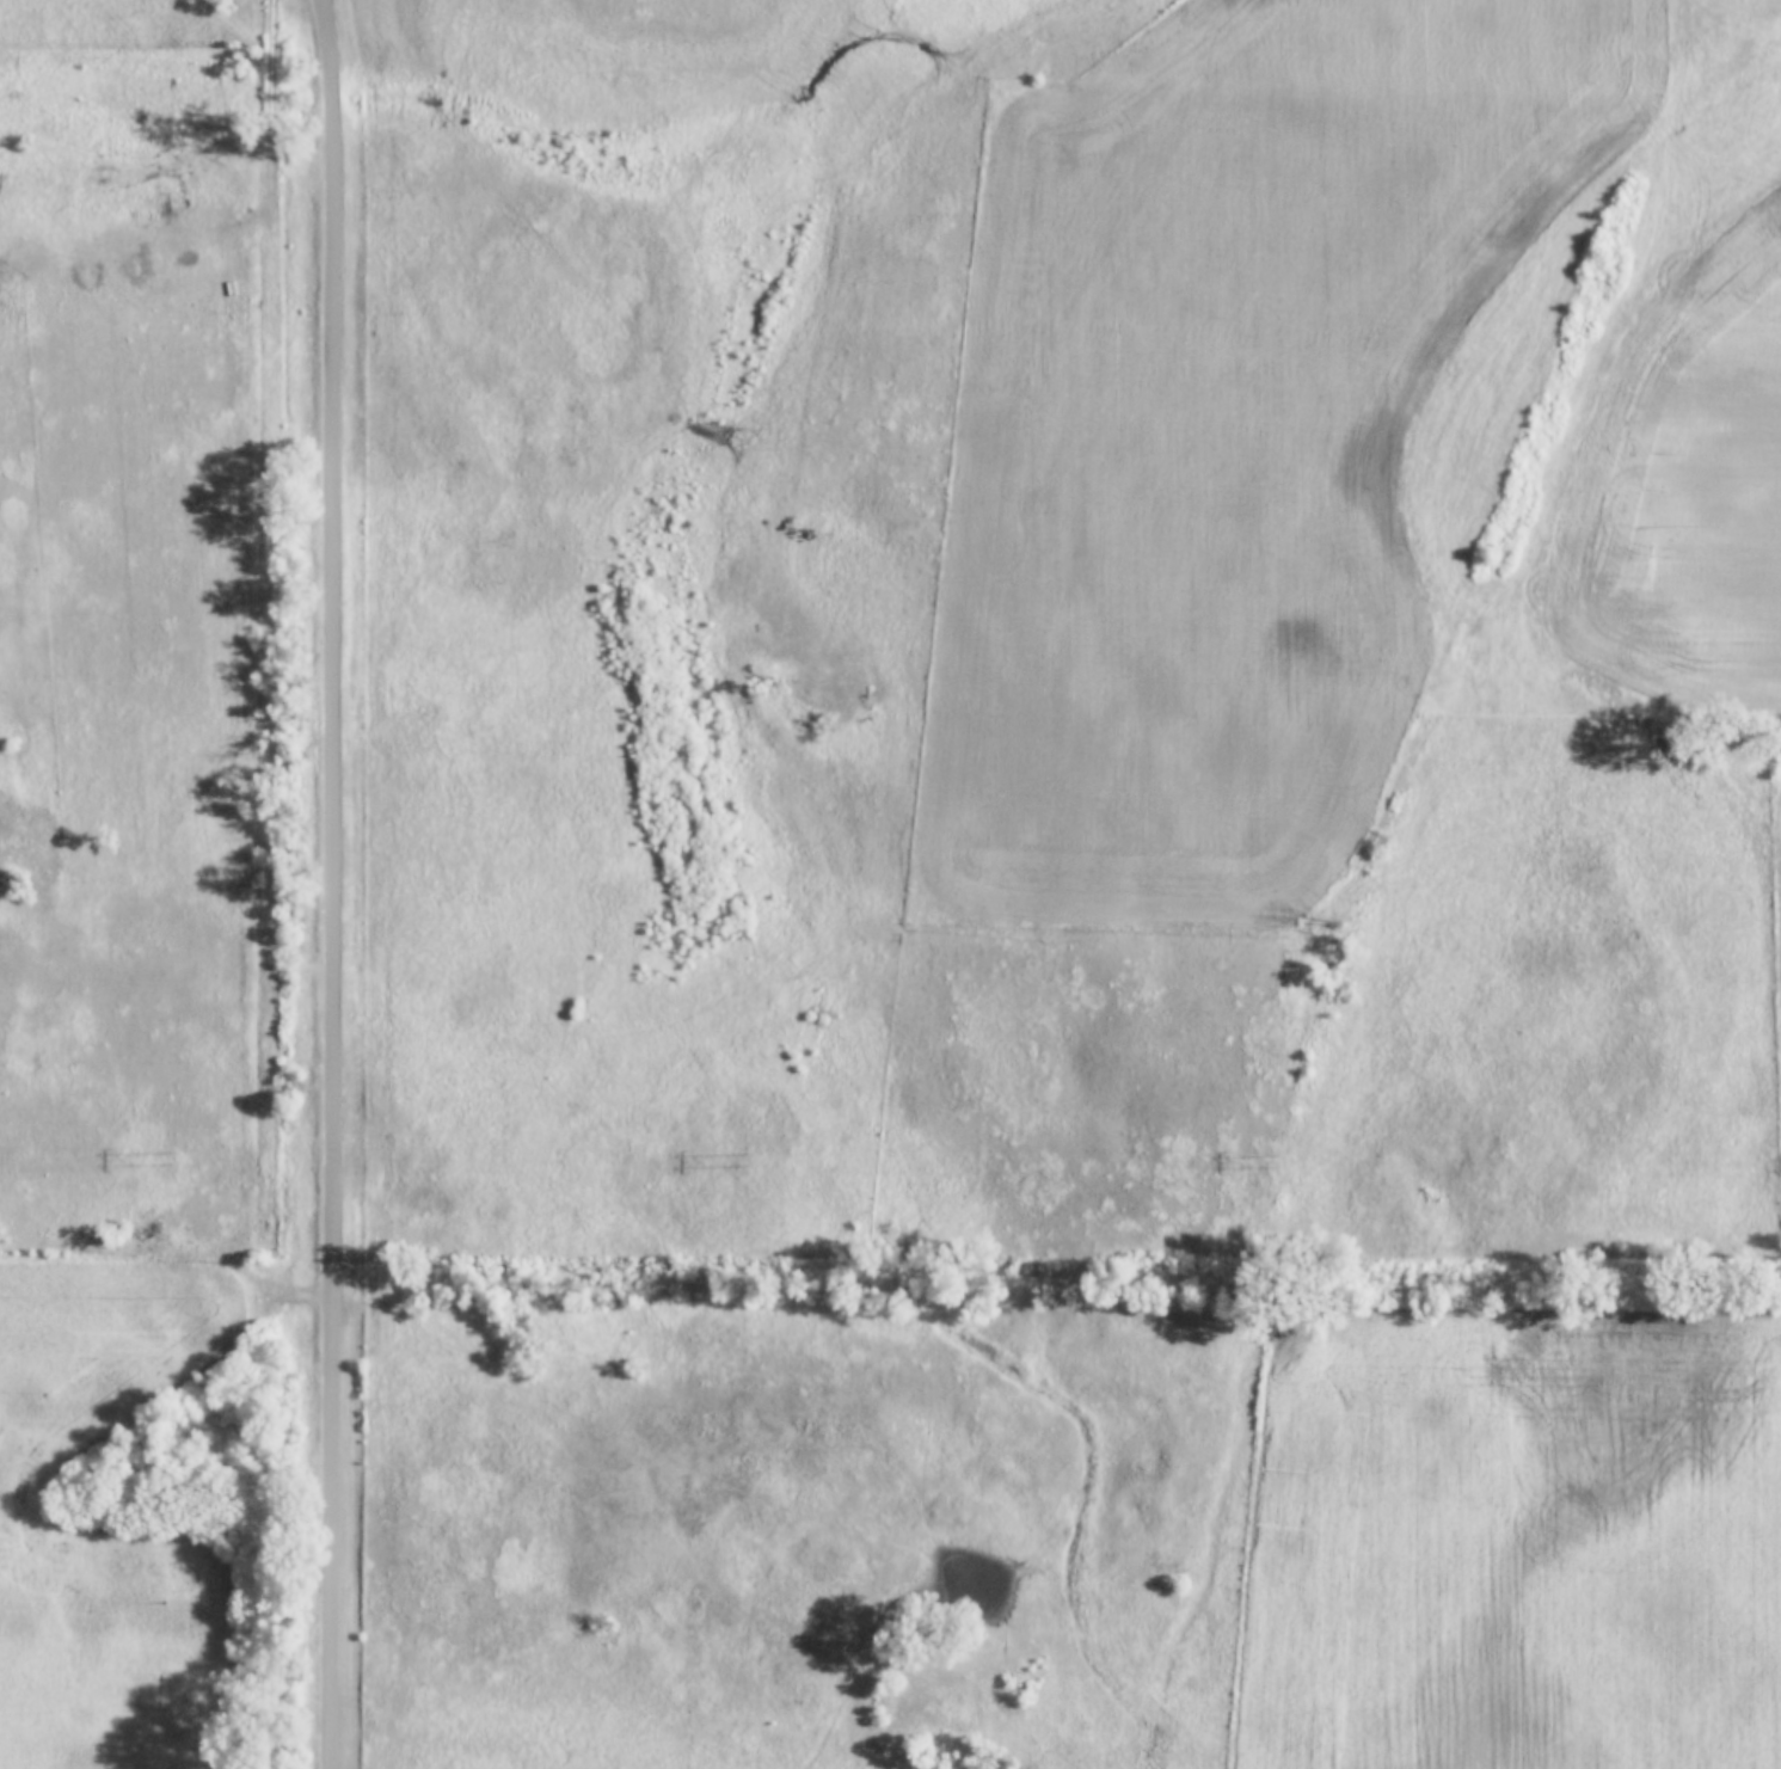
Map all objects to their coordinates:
road: (338, 884)
power tower: (180, 1155)
power tower: (754, 1159)
power tower: (1279, 1162)

